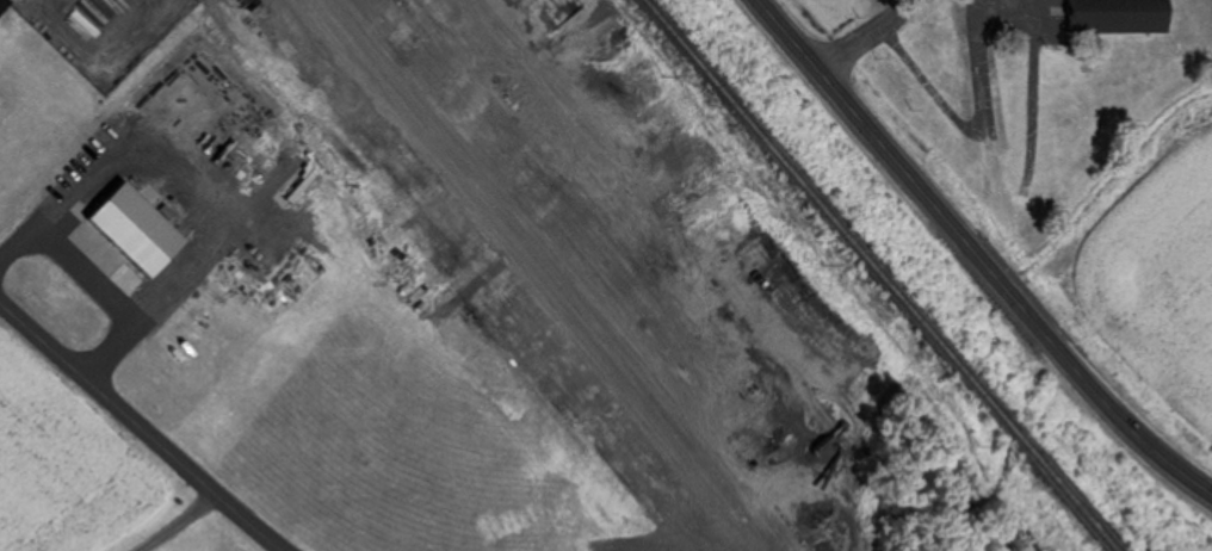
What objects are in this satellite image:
building: (1119, 17)
road: (859, 36)
building: (466, 99)
building: (140, 229)
road: (973, 258)
road: (548, 273)
railway: (876, 277)
road: (93, 290)
road: (138, 428)

